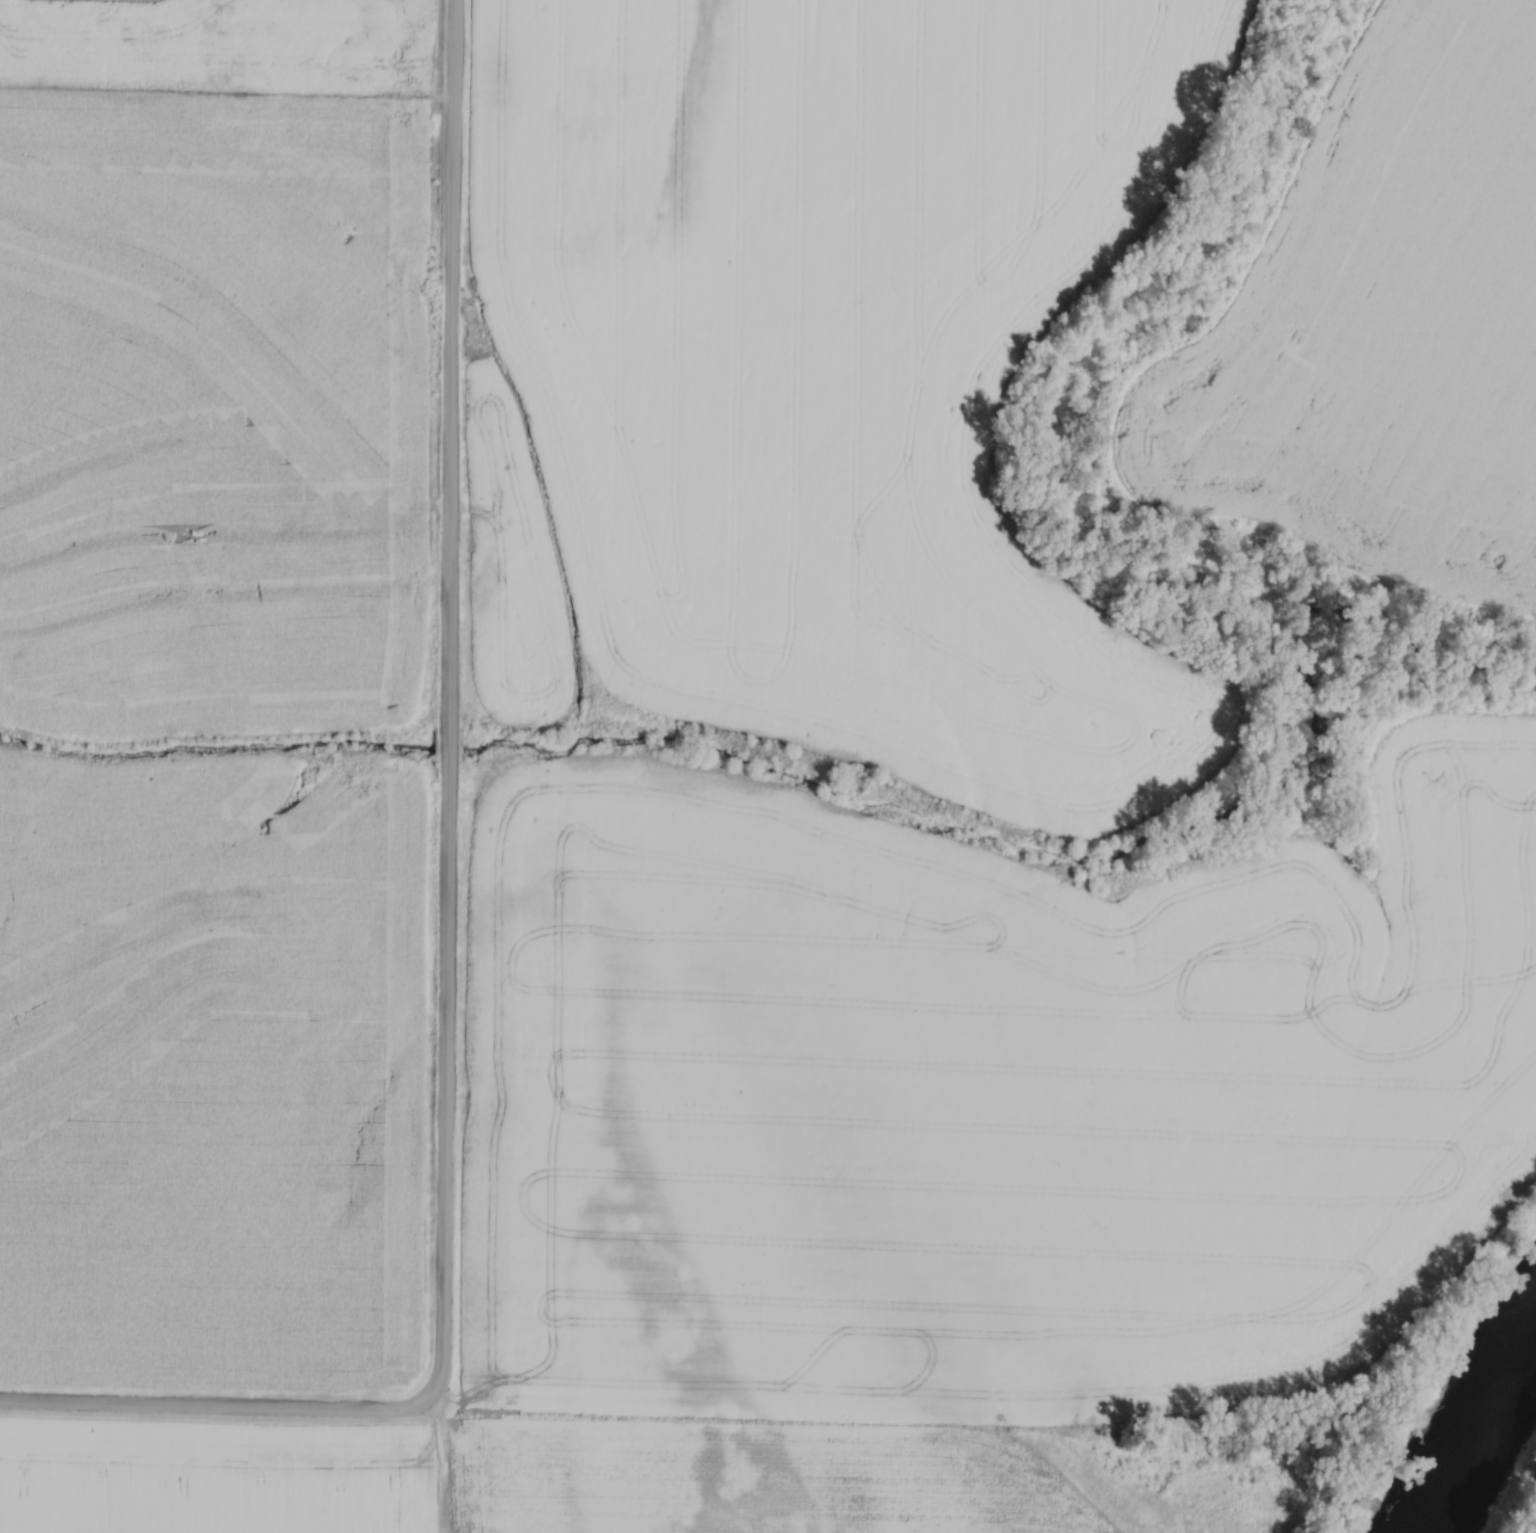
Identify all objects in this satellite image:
airport: (232, 50)
road: (449, 364)
road: (445, 746)
road: (449, 1085)
road: (212, 1411)
river: (1473, 1429)

